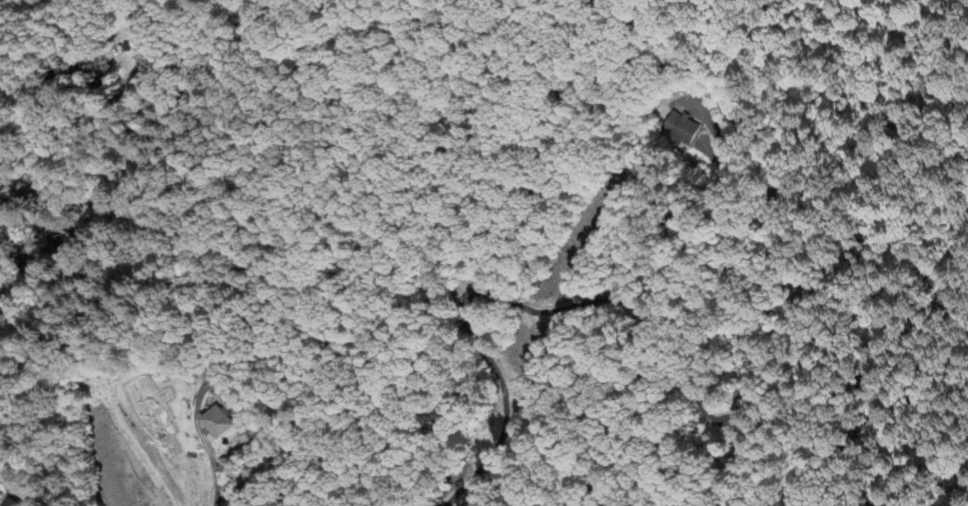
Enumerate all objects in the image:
building: (686, 130)
road: (641, 312)
building: (219, 424)
road: (201, 444)
building: (9, 503)

